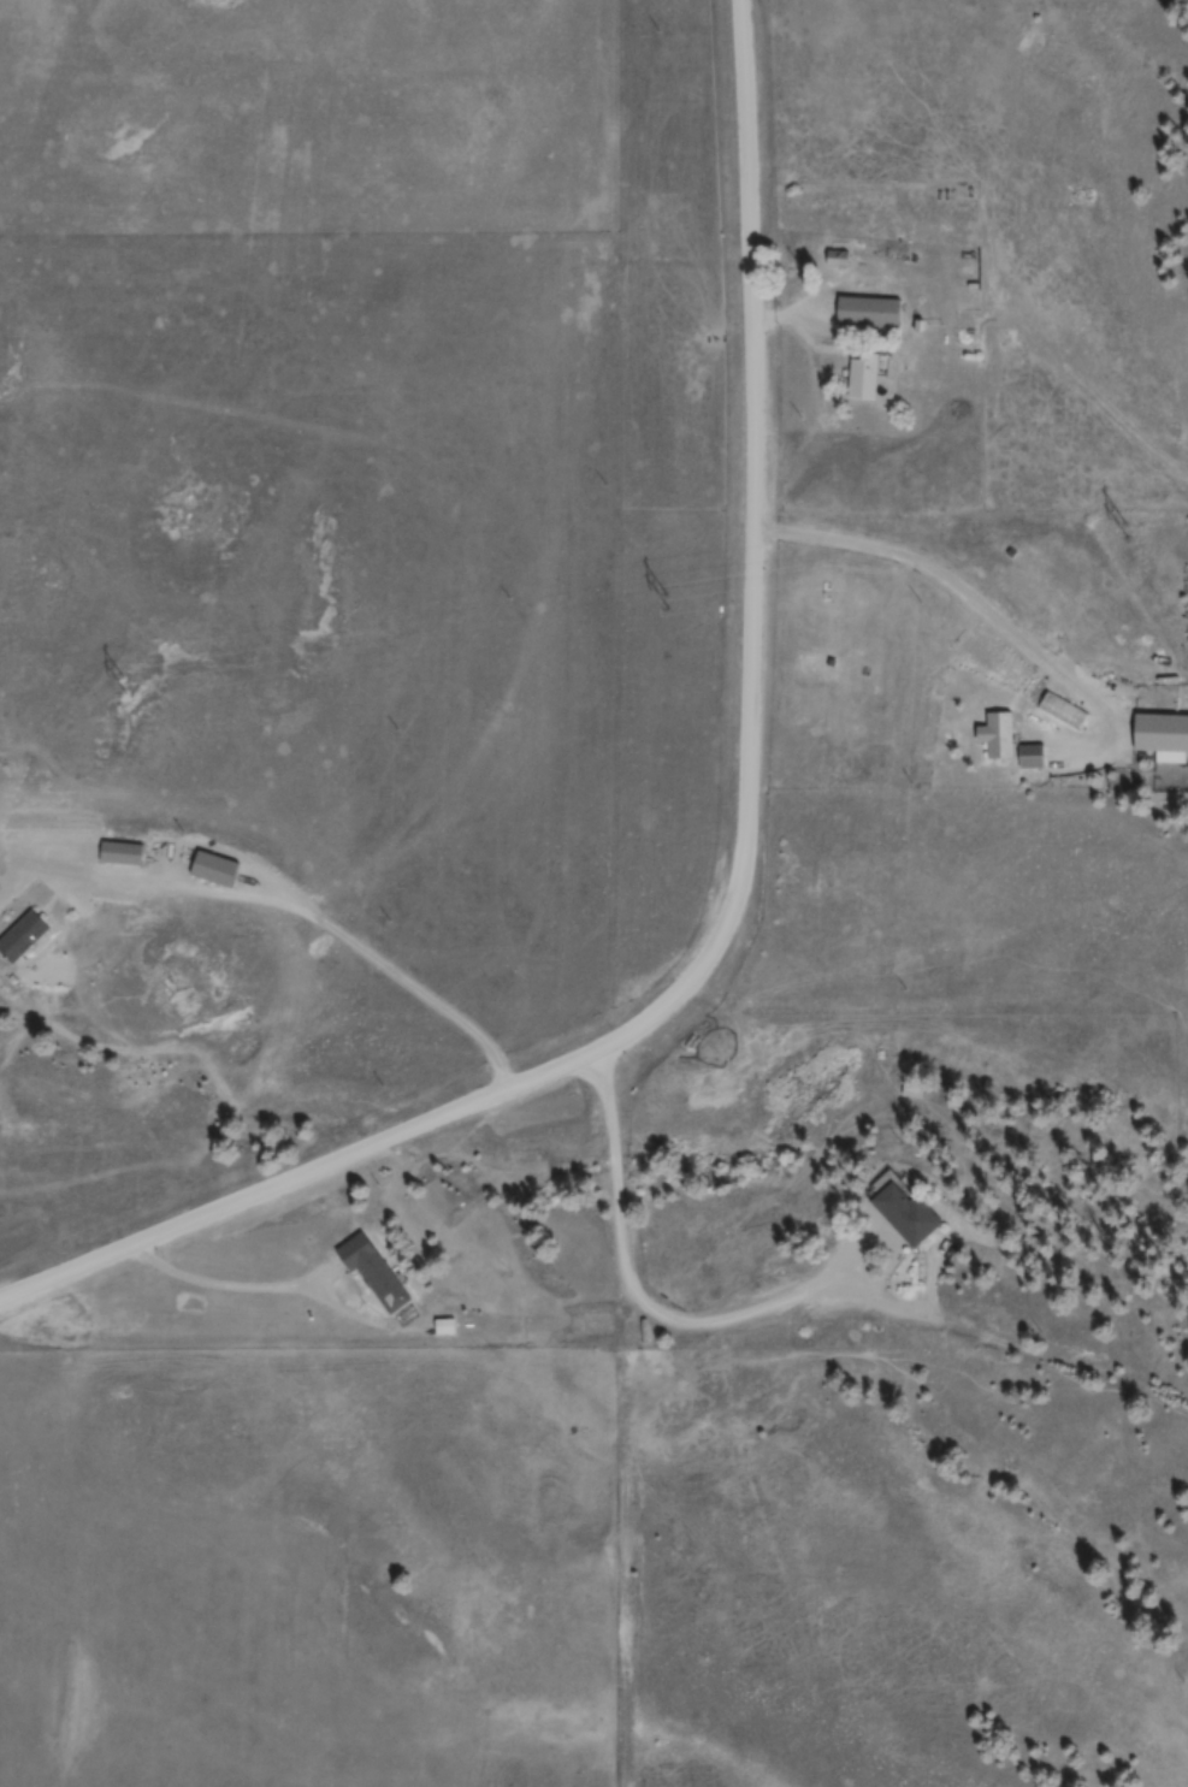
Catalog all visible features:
building: (840, 258)
building: (869, 315)
building: (864, 383)
power tower: (1127, 532)
power tower: (666, 600)
power tower: (122, 681)
building: (1001, 739)
building: (1033, 759)
building: (123, 856)
building: (217, 871)
road: (741, 880)
building: (24, 939)
building: (916, 1091)
building: (909, 1217)
road: (627, 1274)
building: (376, 1276)
building: (447, 1331)

